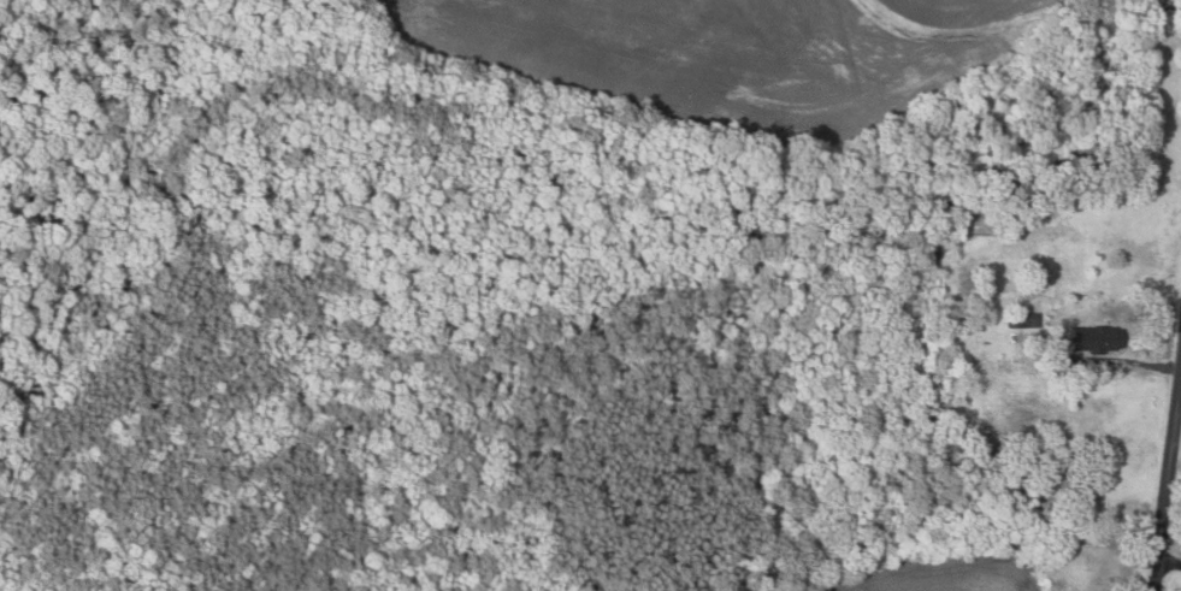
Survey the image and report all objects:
crop: (738, 57)
building: (1023, 320)
building: (1102, 338)
building: (1059, 365)
road: (1140, 365)
road: (1168, 481)
road: (1170, 551)
crop: (951, 573)

